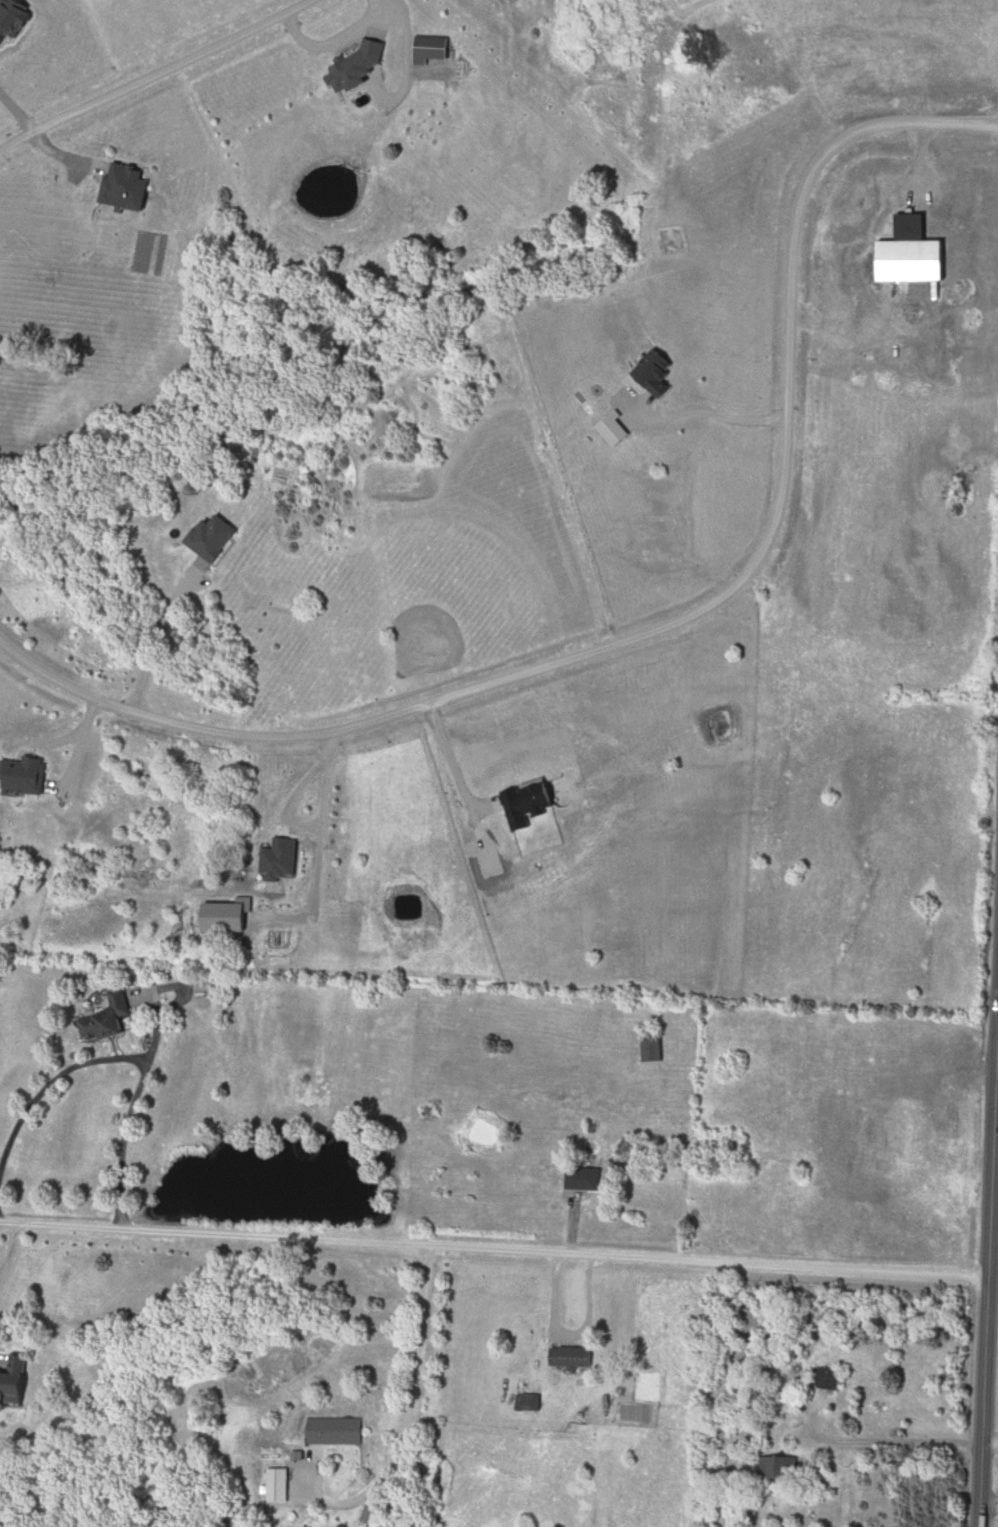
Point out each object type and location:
road: (149, 75)
road: (707, 413)
road: (670, 622)
road: (155, 634)
road: (85, 753)
road: (452, 763)
building: (92, 1022)
building: (653, 1047)
road: (127, 1061)
road: (994, 1085)
road: (989, 1159)
building: (584, 1179)
road: (494, 1249)
road: (9, 1252)
building: (571, 1358)
building: (17, 1384)
building: (831, 1384)
road: (405, 1425)
building: (336, 1431)
road: (989, 1442)
building: (778, 1468)
building: (281, 1484)

